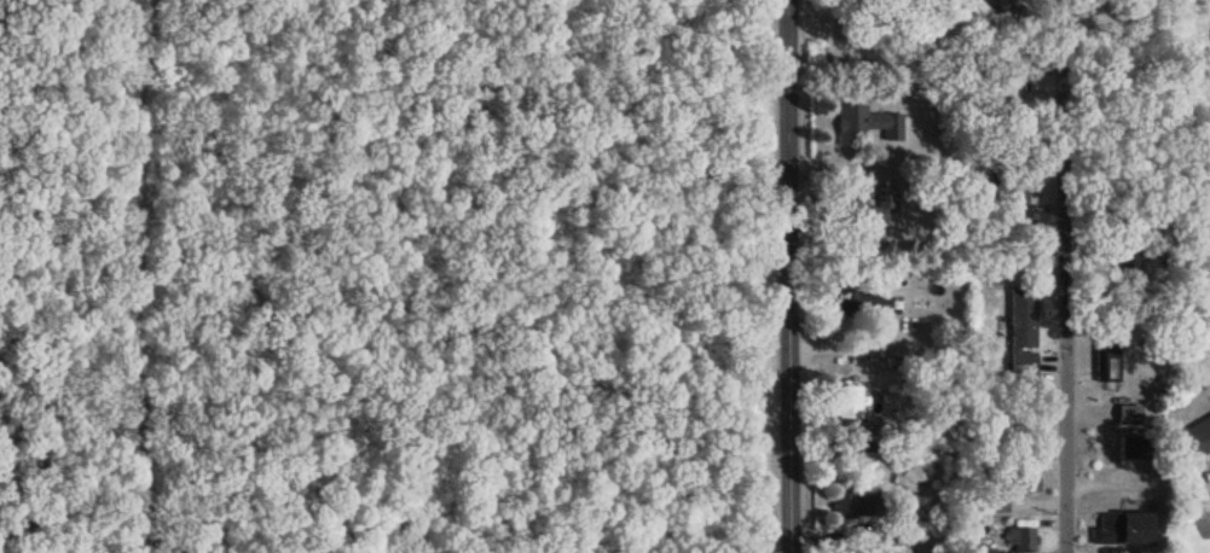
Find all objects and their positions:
building: (1003, 106)
building: (865, 123)
road: (847, 167)
building: (1013, 184)
building: (863, 205)
building: (1124, 261)
road: (786, 275)
road: (1065, 276)
building: (874, 316)
building: (1021, 331)
road: (850, 350)
building: (1105, 362)
building: (847, 402)
building: (1128, 414)
building: (1198, 437)
building: (1135, 448)
building: (1009, 490)
building: (855, 507)
road: (1209, 513)
road: (128, 516)
building: (1121, 529)
building: (1021, 540)

